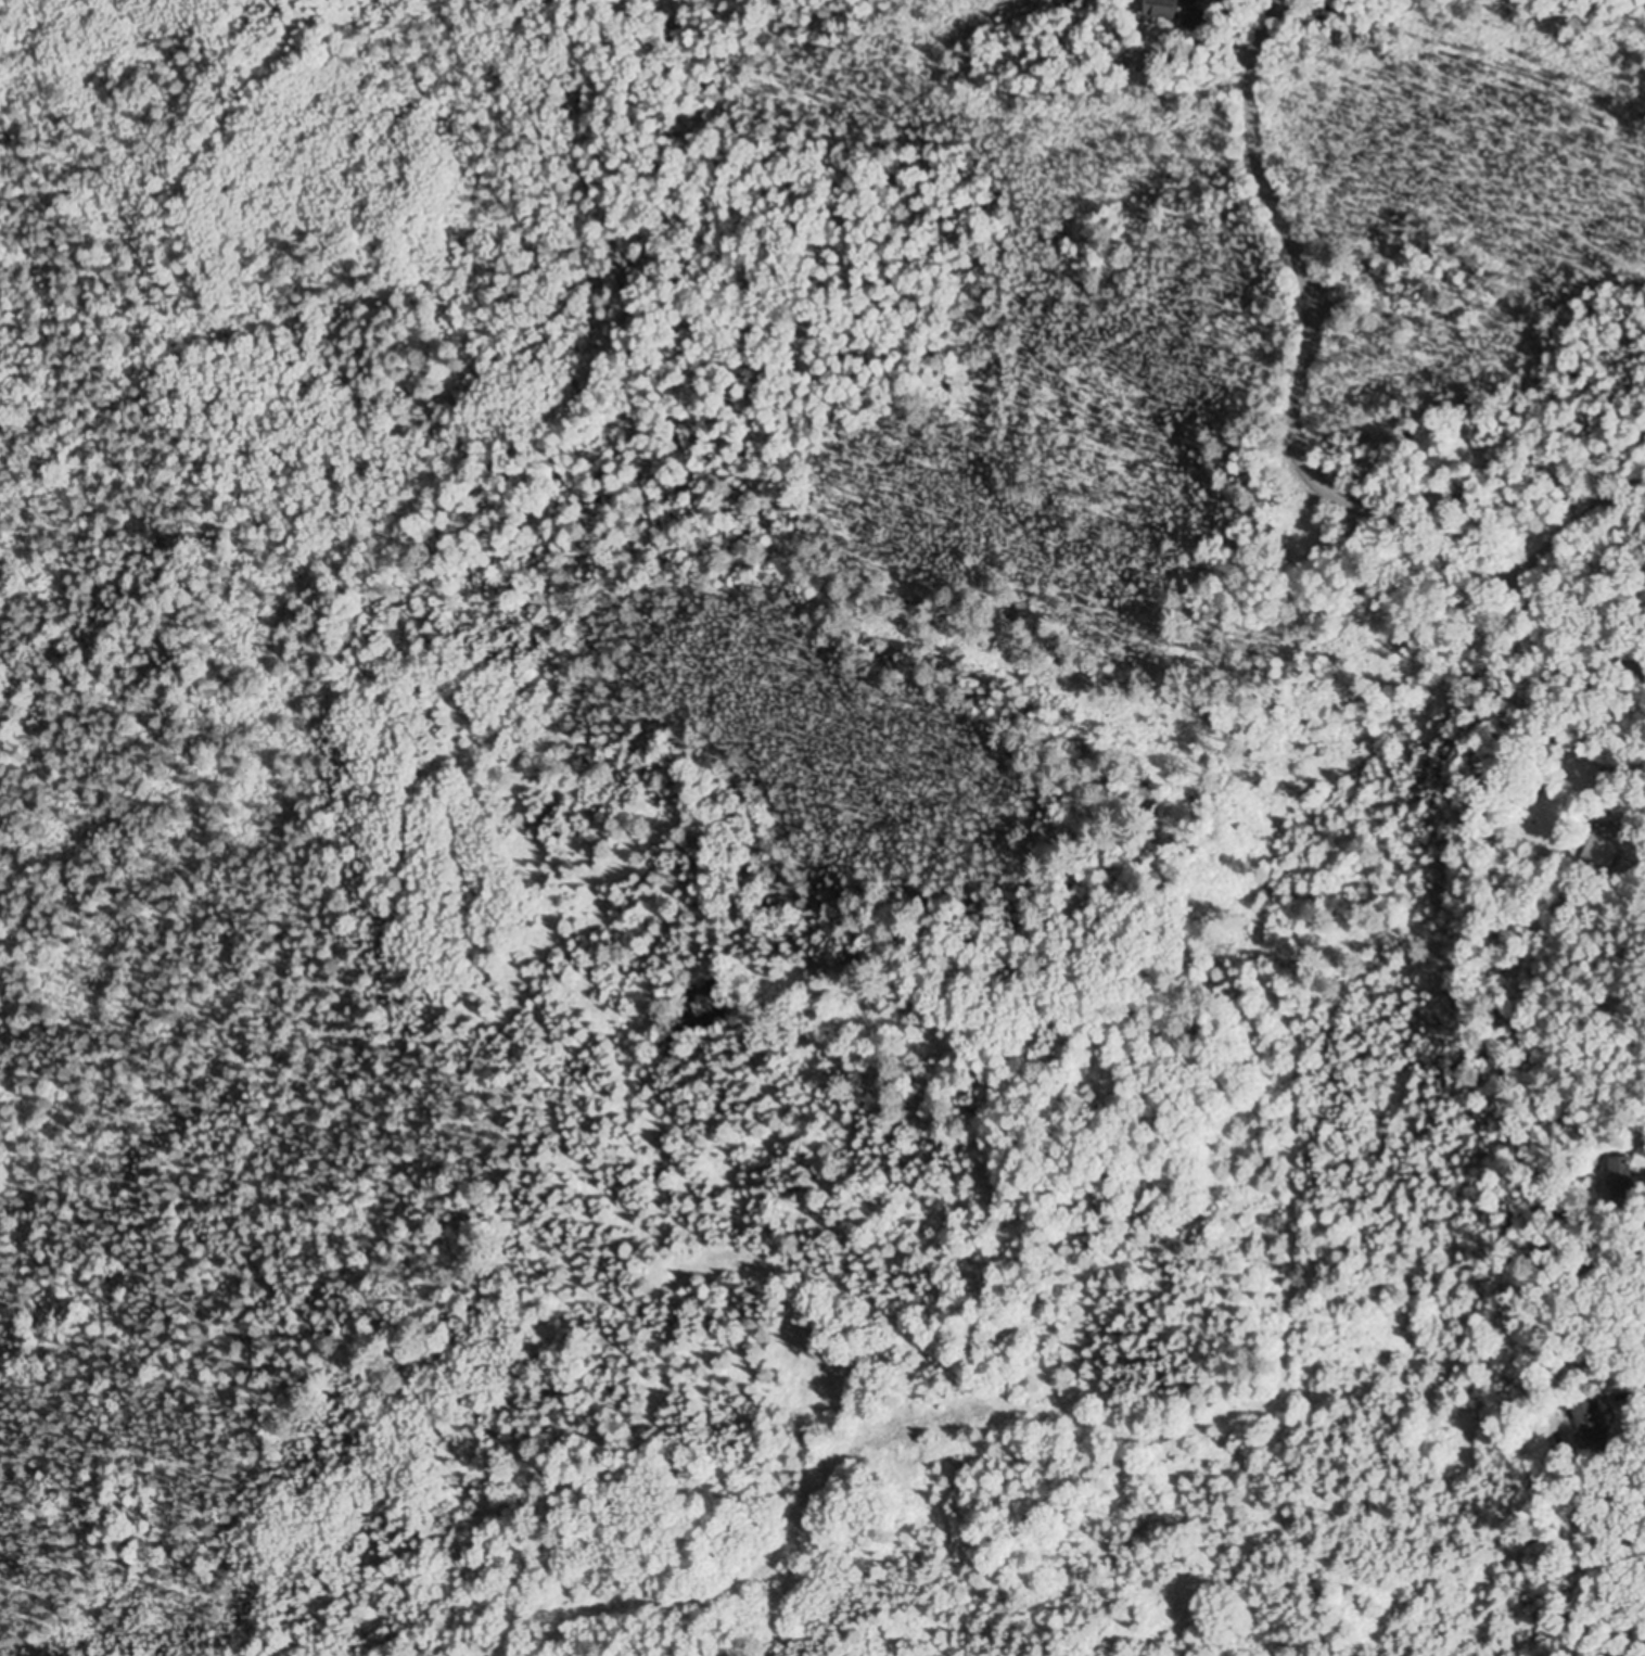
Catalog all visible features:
building: (1157, 9)
building: (1189, 17)
road: (1296, 423)
road: (1587, 748)
building: (1591, 773)
building: (1609, 851)
building: (1636, 1170)
building: (1591, 1423)

